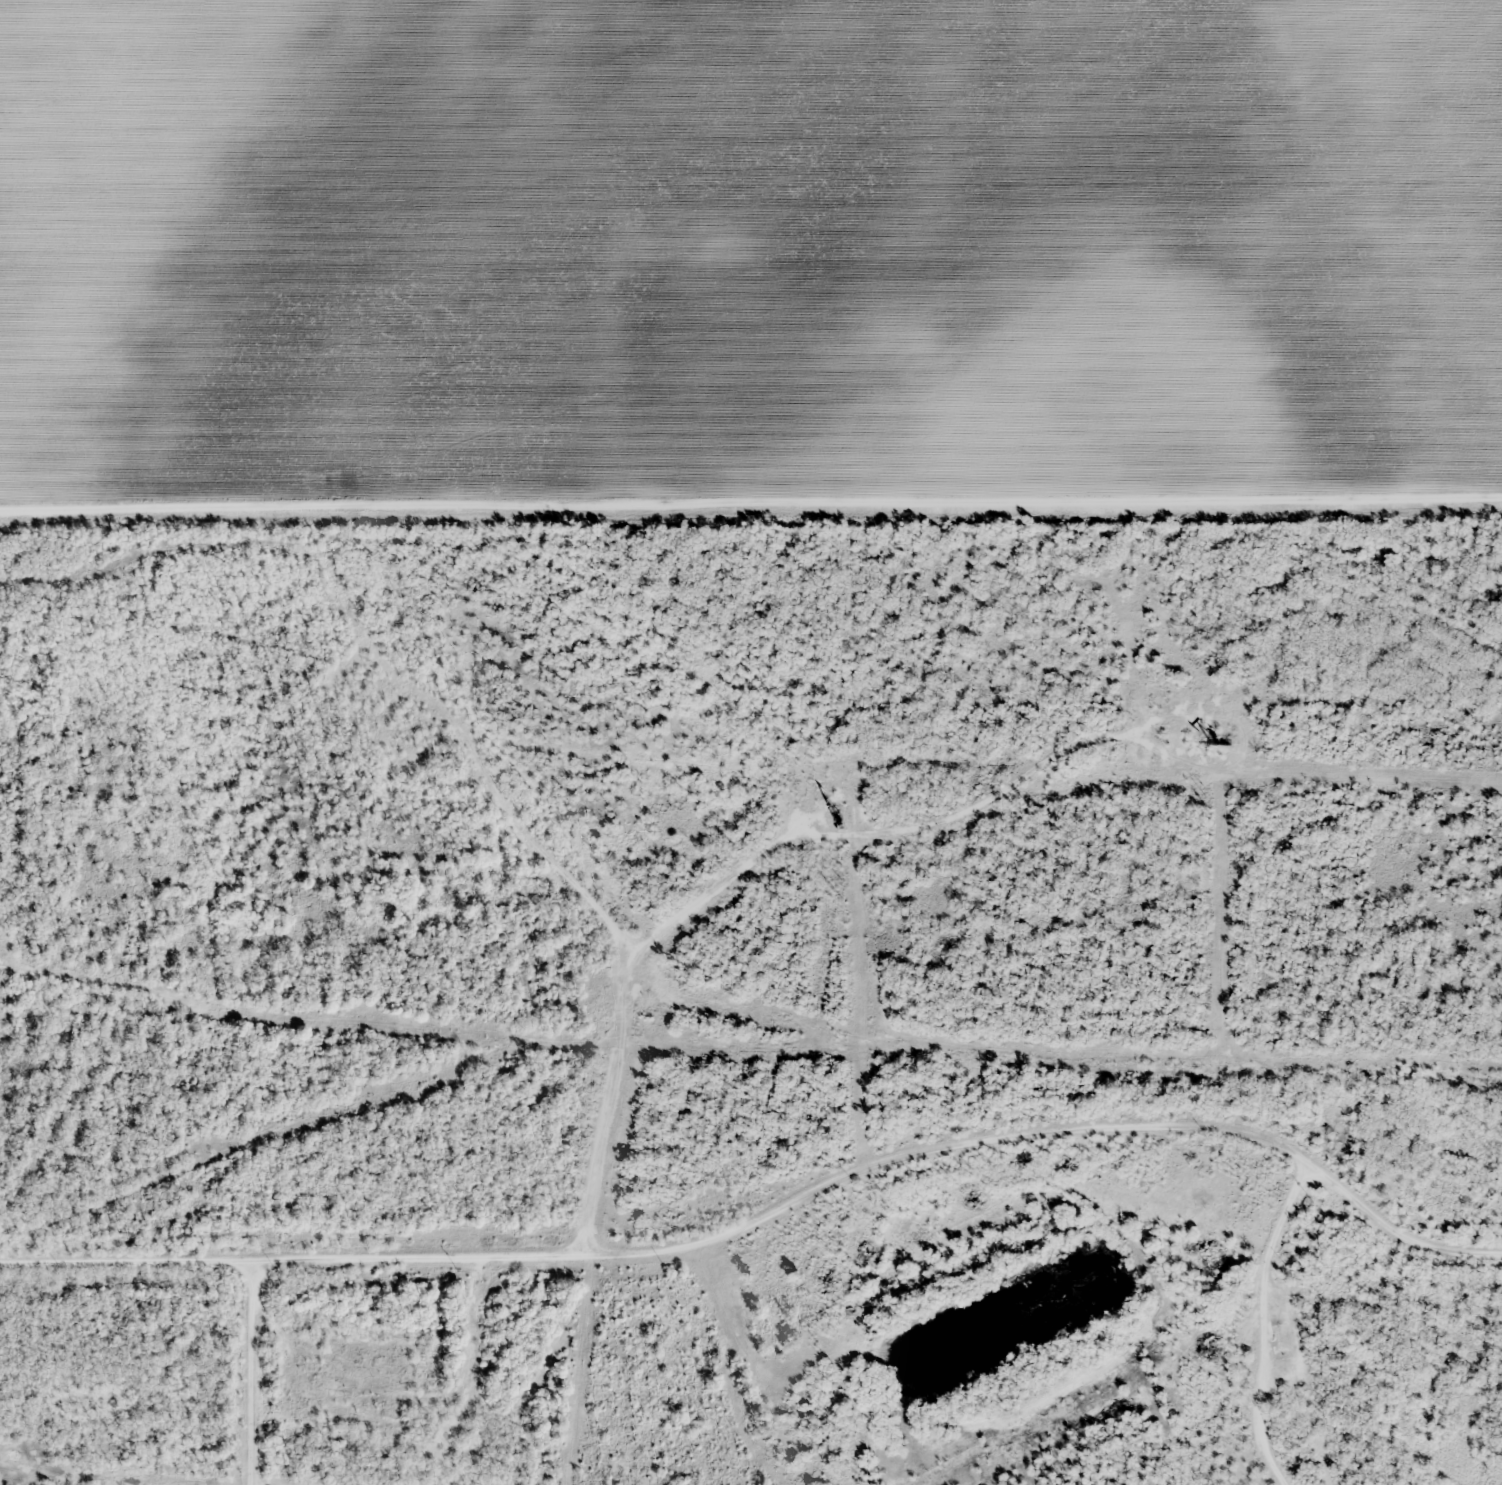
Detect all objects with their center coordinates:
road: (751, 499)
road: (759, 1190)
road: (239, 1385)

